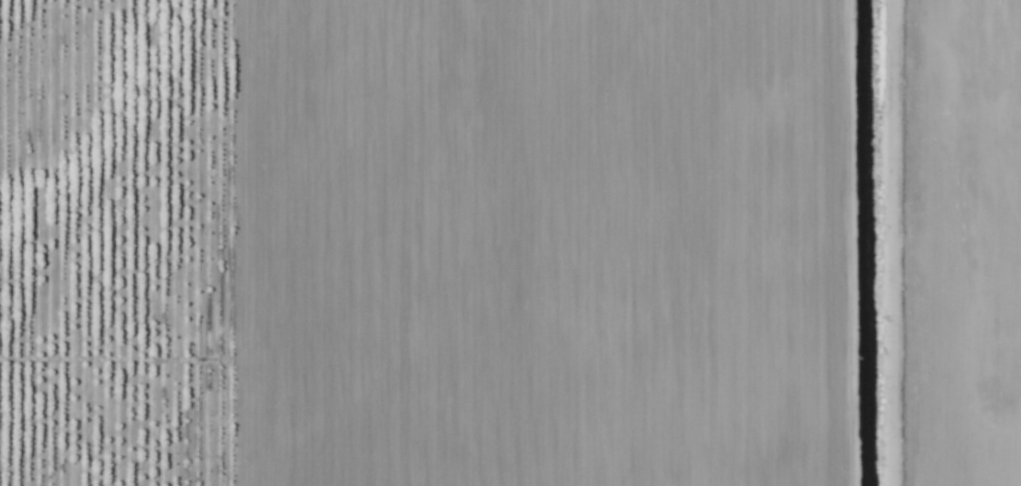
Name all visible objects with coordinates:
road: (877, 243)

